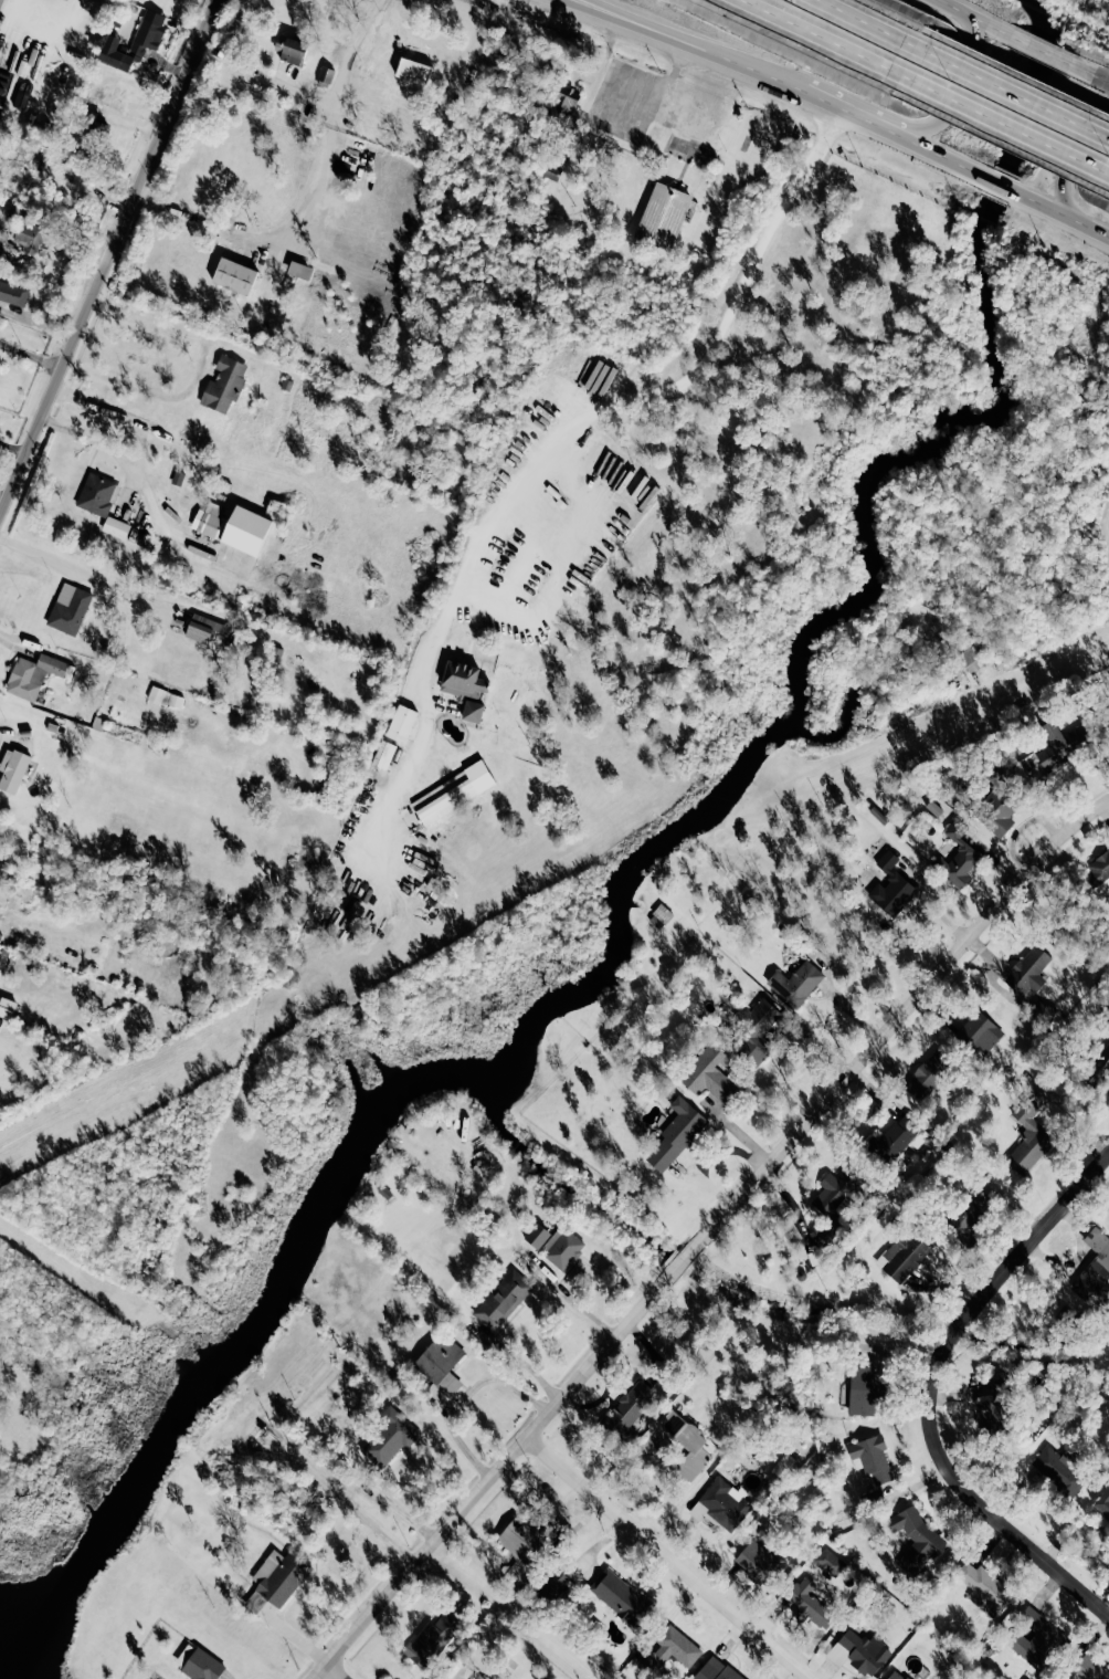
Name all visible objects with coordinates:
building: (0, 2)
road: (584, 8)
road: (592, 8)
road: (973, 18)
road: (875, 25)
road: (830, 40)
building: (135, 42)
building: (289, 49)
road: (1037, 51)
road: (703, 52)
road: (1086, 74)
building: (324, 76)
road: (961, 84)
road: (1018, 94)
building: (566, 101)
road: (854, 115)
road: (1012, 126)
building: (349, 154)
road: (1068, 158)
road: (947, 160)
building: (550, 171)
road: (1001, 186)
road: (1063, 216)
building: (663, 217)
road: (106, 255)
building: (296, 274)
building: (234, 276)
building: (12, 294)
road: (30, 357)
building: (224, 384)
road: (549, 431)
road: (126, 461)
building: (97, 494)
building: (116, 527)
building: (233, 527)
road: (553, 539)
road: (38, 555)
building: (68, 609)
building: (203, 628)
building: (30, 643)
building: (971, 658)
building: (32, 675)
building: (462, 680)
building: (166, 697)
building: (473, 712)
building: (401, 723)
road: (9, 739)
building: (1060, 744)
building: (383, 754)
building: (12, 770)
building: (453, 793)
building: (996, 808)
building: (122, 825)
building: (1108, 828)
building: (959, 856)
building: (1098, 868)
building: (891, 886)
building: (659, 916)
building: (1028, 972)
building: (795, 983)
building: (7, 1008)
building: (754, 1031)
building: (980, 1032)
building: (1098, 1068)
building: (710, 1073)
building: (928, 1075)
building: (676, 1133)
building: (1028, 1137)
building: (833, 1201)
building: (968, 1215)
road: (704, 1234)
building: (537, 1236)
building: (561, 1247)
building: (905, 1253)
building: (1094, 1267)
building: (503, 1299)
building: (441, 1368)
building: (864, 1388)
road: (925, 1394)
road: (463, 1395)
building: (994, 1405)
building: (629, 1408)
building: (389, 1437)
building: (686, 1445)
building: (870, 1458)
building: (1060, 1469)
building: (1102, 1503)
building: (721, 1505)
road: (372, 1528)
building: (525, 1535)
building: (915, 1535)
road: (661, 1560)
building: (828, 1562)
building: (760, 1563)
building: (279, 1576)
building: (554, 1582)
building: (983, 1587)
building: (620, 1597)
building: (809, 1604)
building: (1038, 1640)
building: (429, 1641)
building: (674, 1648)
building: (864, 1651)
building: (201, 1666)
building: (1088, 1669)
building: (716, 1670)
road: (330, 1672)
building: (897, 1675)
building: (482, 1676)
building: (496, 1678)

